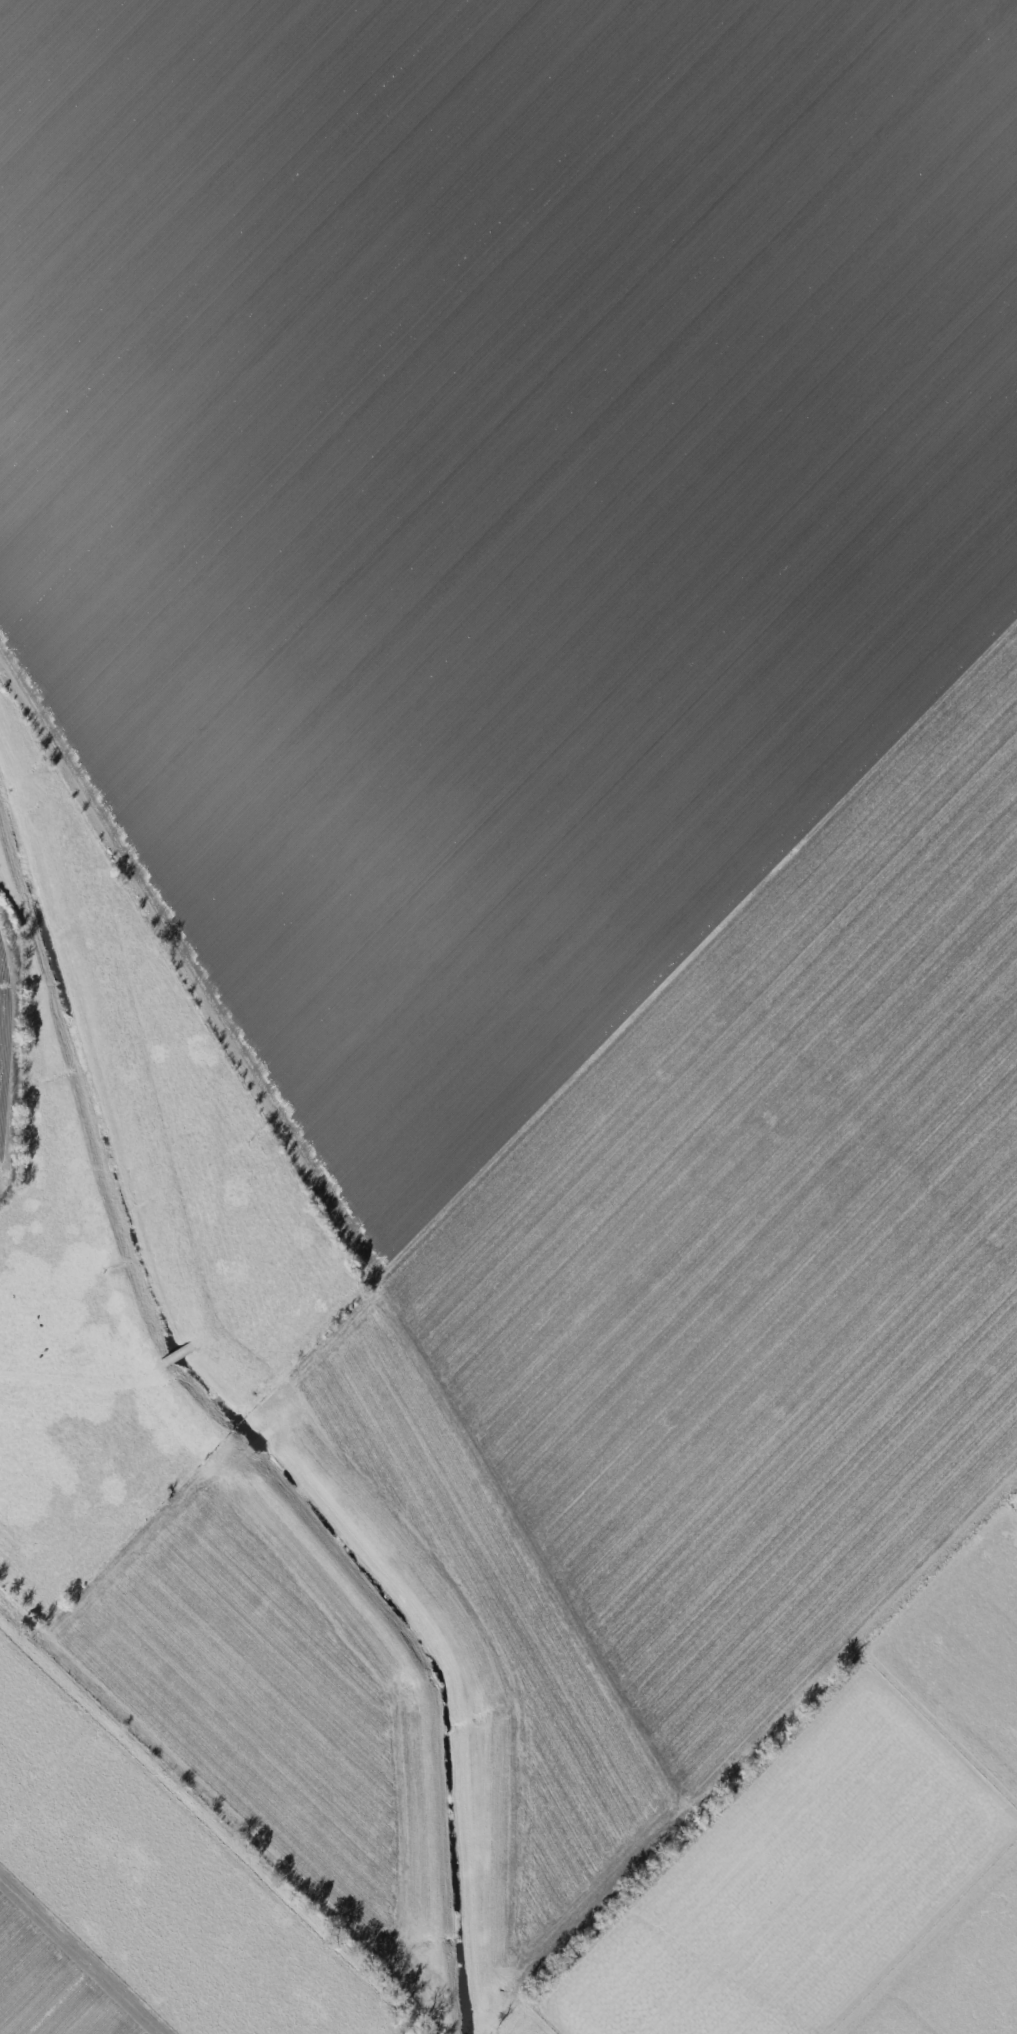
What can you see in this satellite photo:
road: (765, 1769)
road: (223, 1821)

